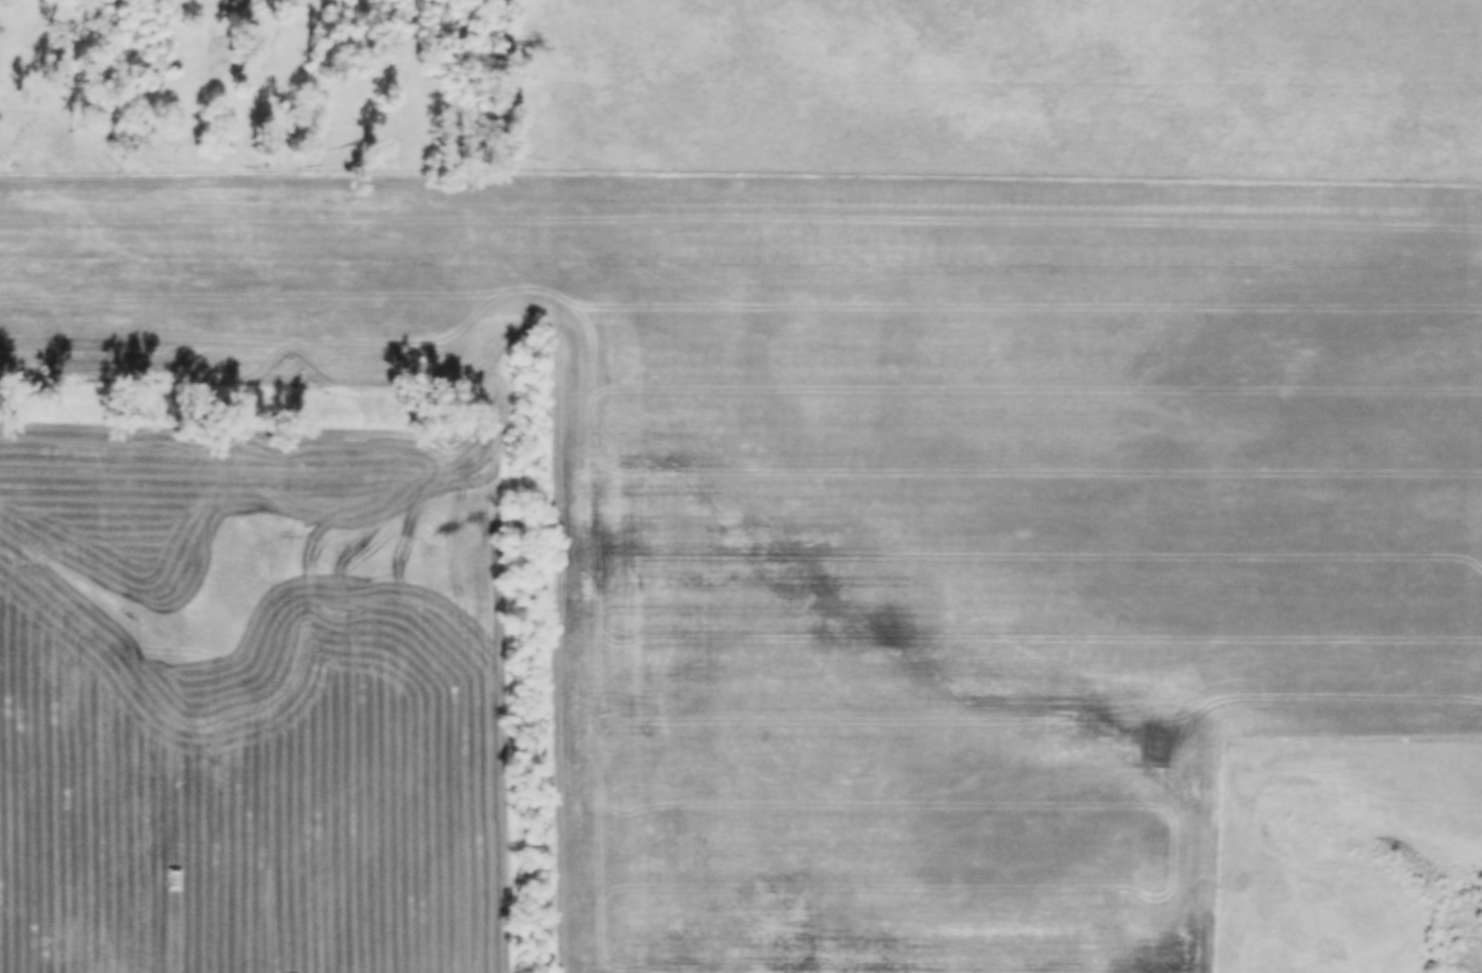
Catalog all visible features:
road: (521, 344)

